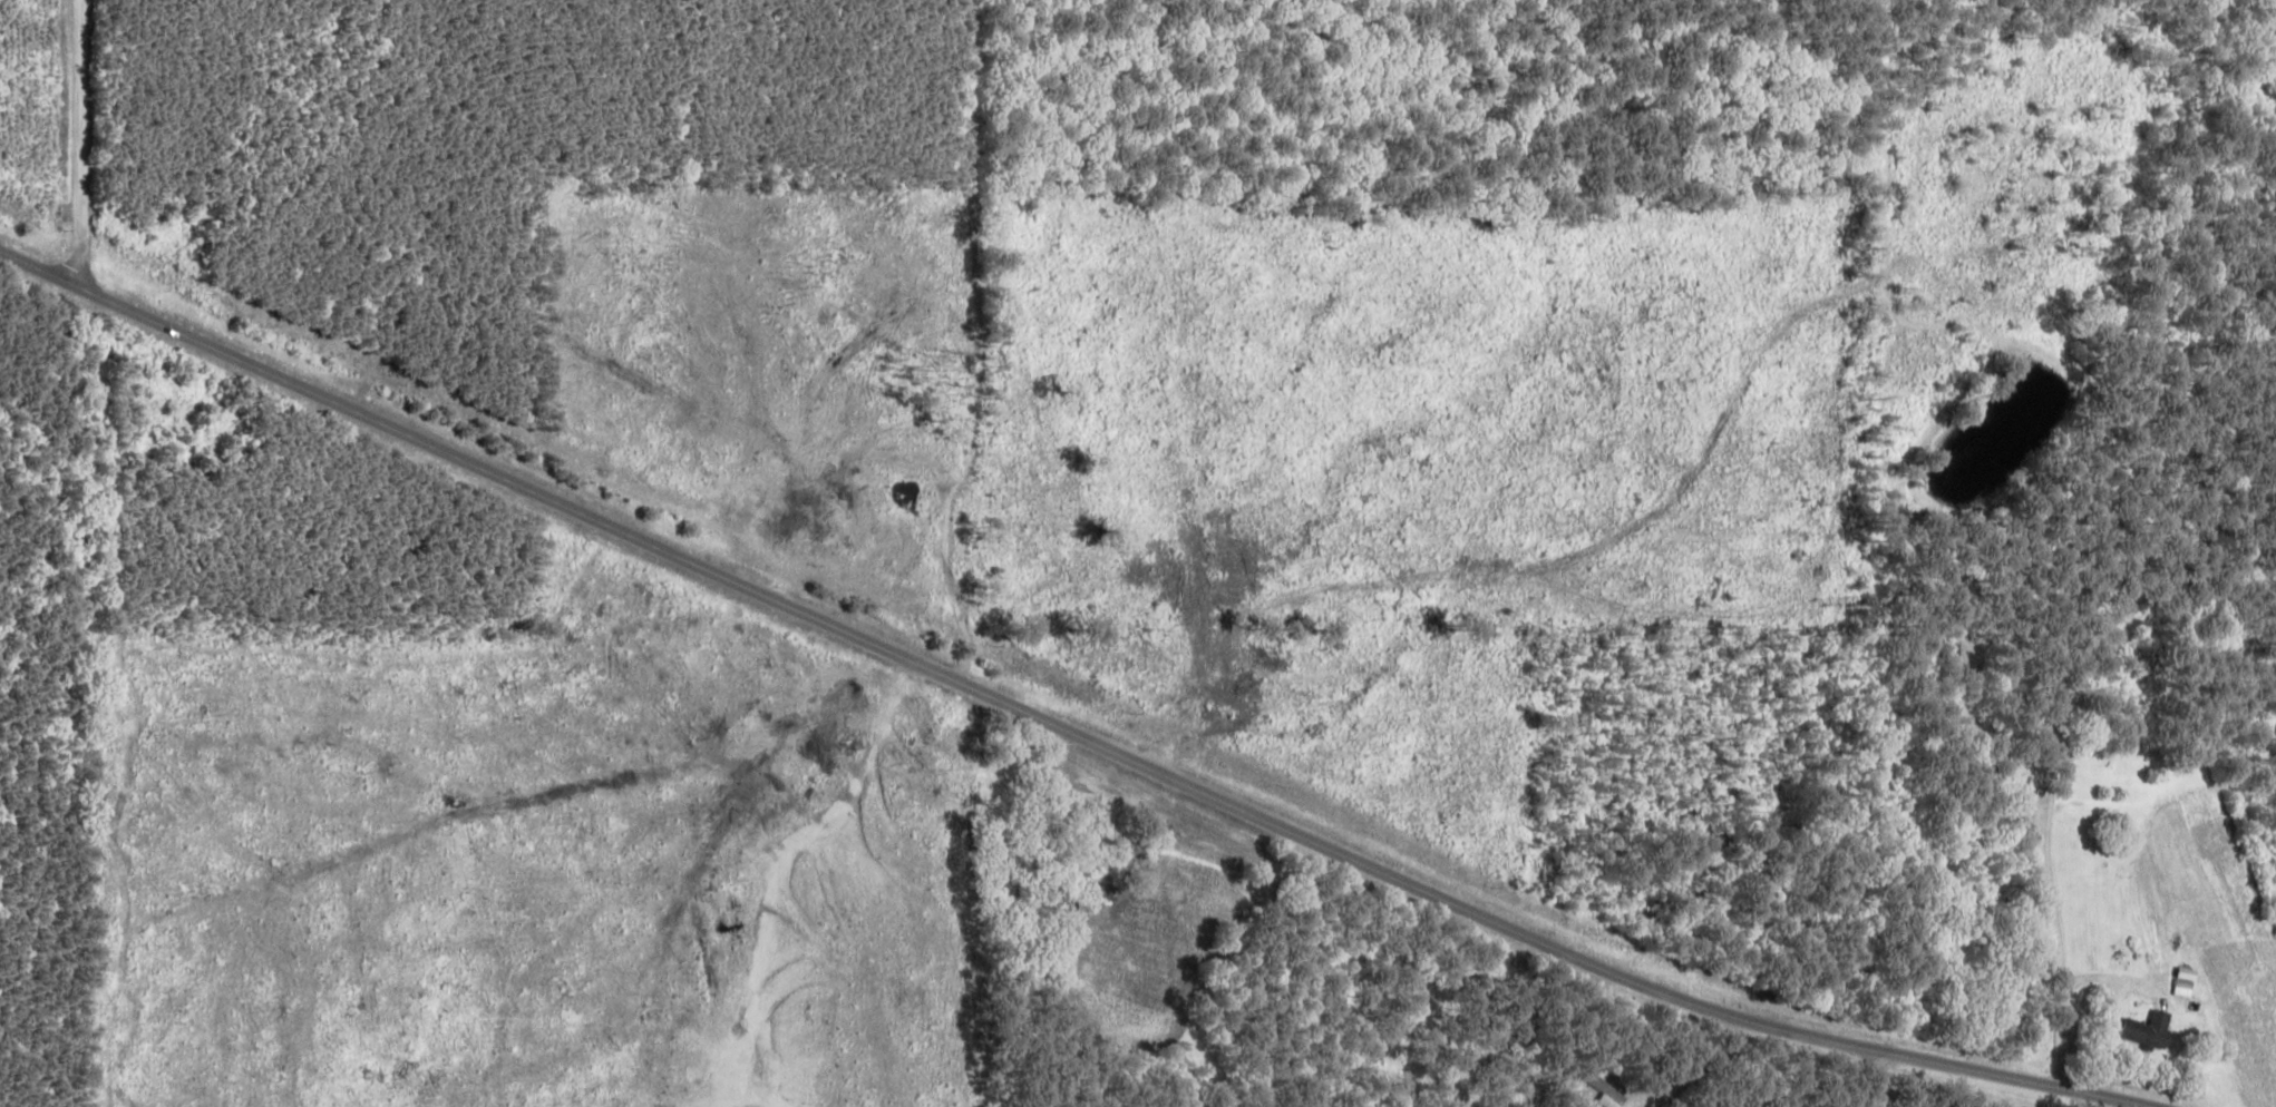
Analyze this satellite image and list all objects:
road: (103, 146)
road: (49, 272)
road: (1040, 732)
road: (480, 801)
road: (2155, 904)
road: (992, 913)
road: (1194, 957)
building: (2146, 1026)

